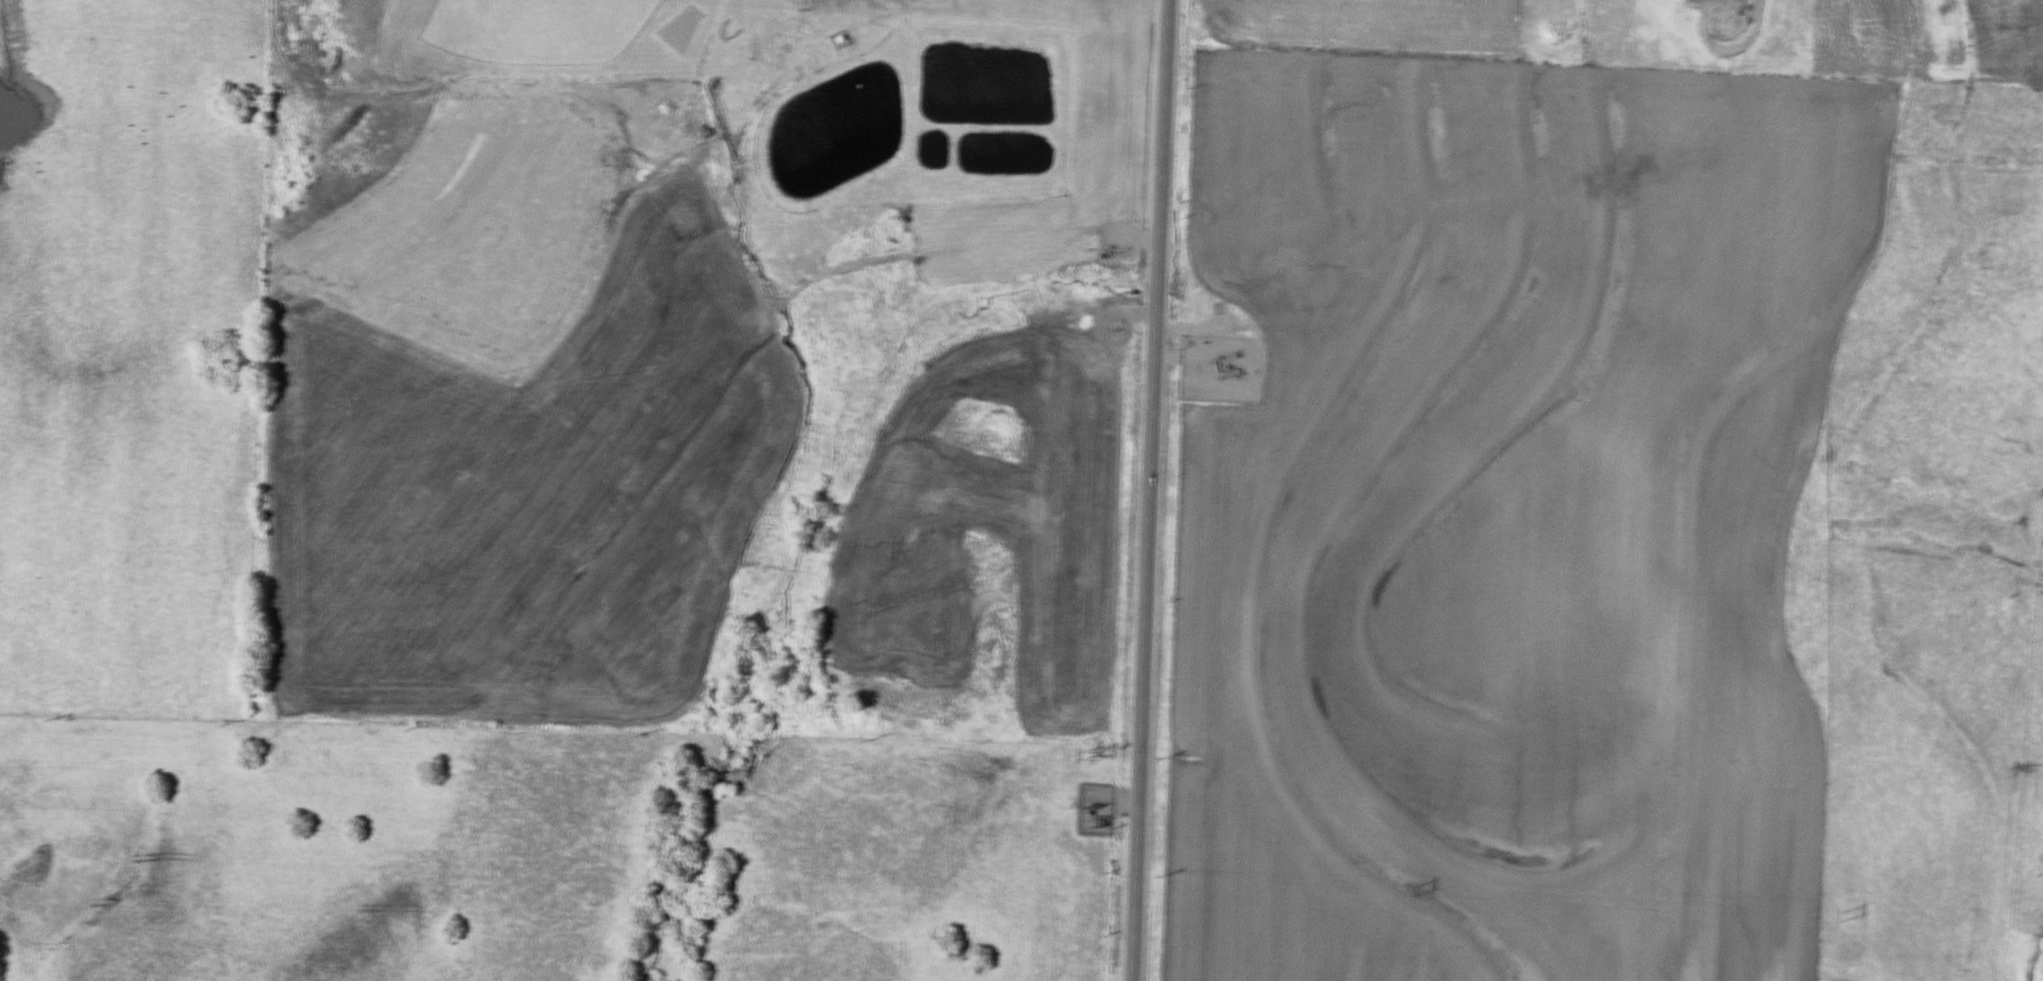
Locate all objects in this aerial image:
crop: (1362, 24)
park: (532, 29)
crop: (1929, 40)
road: (1146, 490)
crop: (1505, 515)

